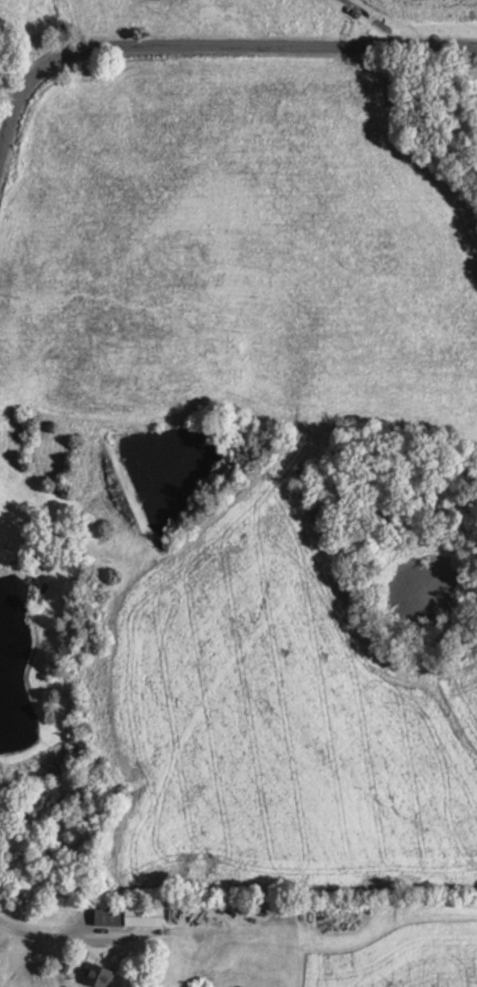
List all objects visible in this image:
road: (370, 21)
road: (202, 46)
building: (122, 915)
building: (94, 975)

